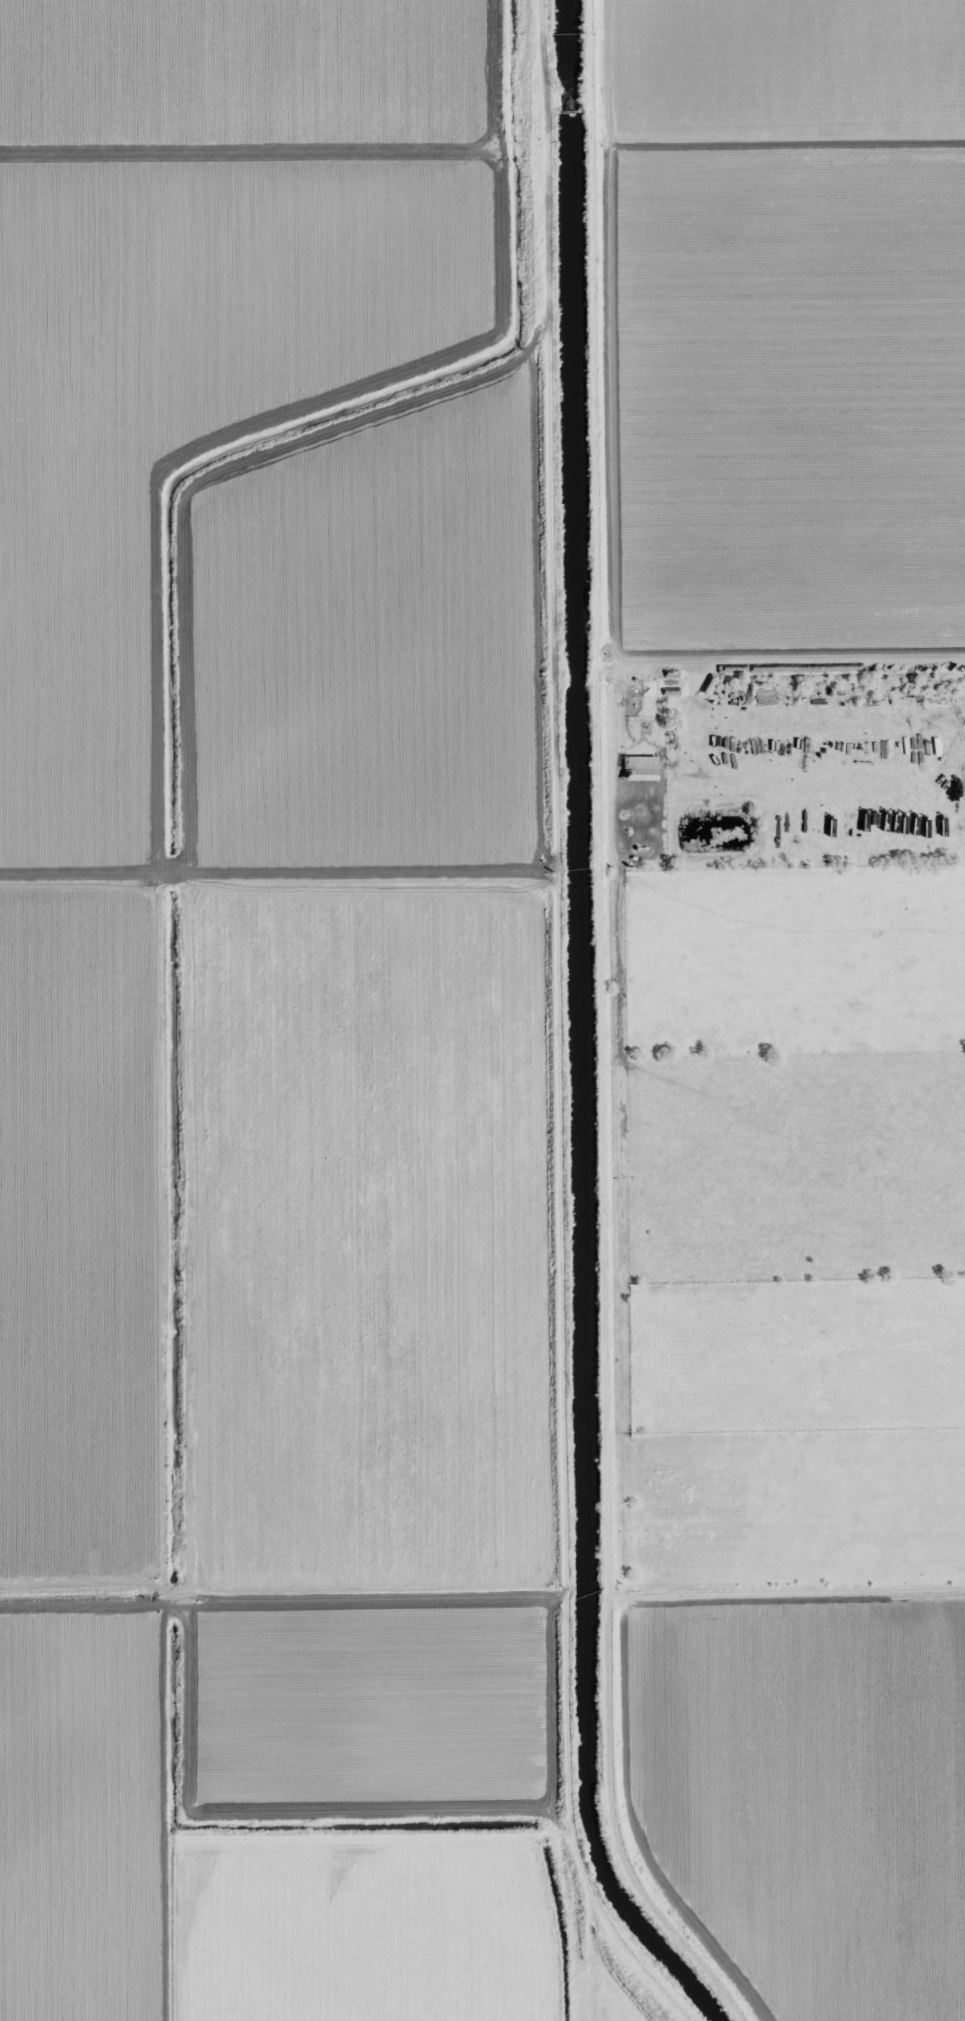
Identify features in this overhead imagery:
building: (670, 687)
building: (639, 768)

